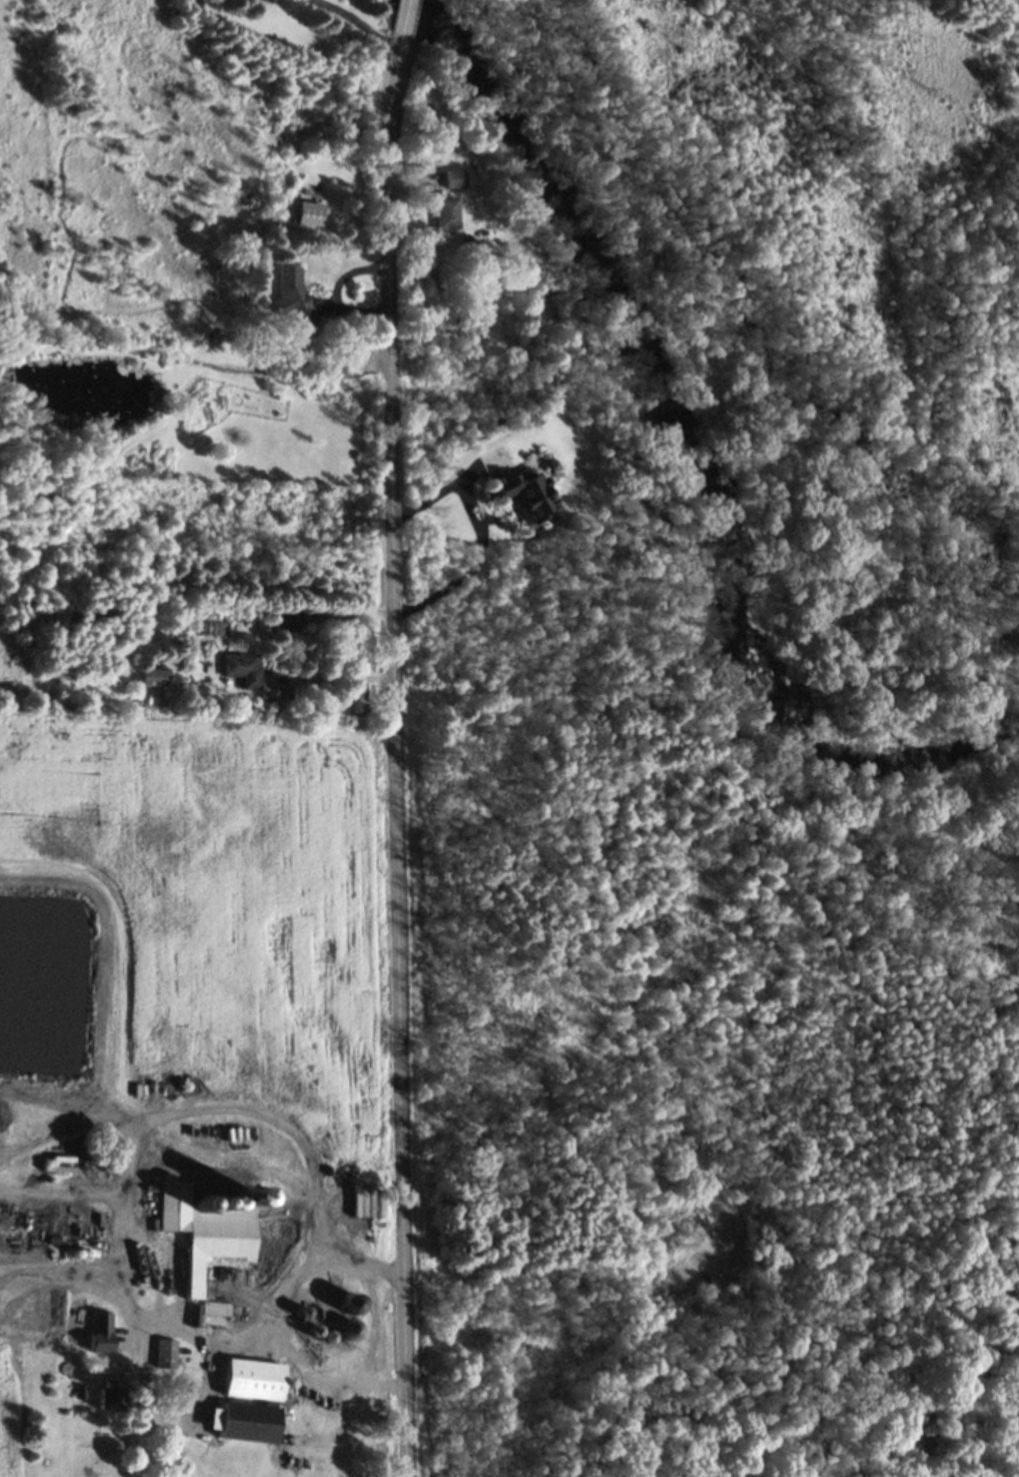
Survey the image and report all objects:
road: (406, 20)
building: (457, 178)
building: (308, 213)
building: (448, 213)
building: (295, 292)
building: (472, 331)
river: (696, 457)
building: (528, 493)
building: (286, 620)
building: (212, 628)
building: (244, 668)
building: (155, 677)
road: (401, 758)
building: (207, 1227)
building: (350, 1304)
building: (207, 1311)
building: (100, 1331)
building: (166, 1353)
building: (110, 1393)
building: (262, 1397)
crop: (12, 1418)

